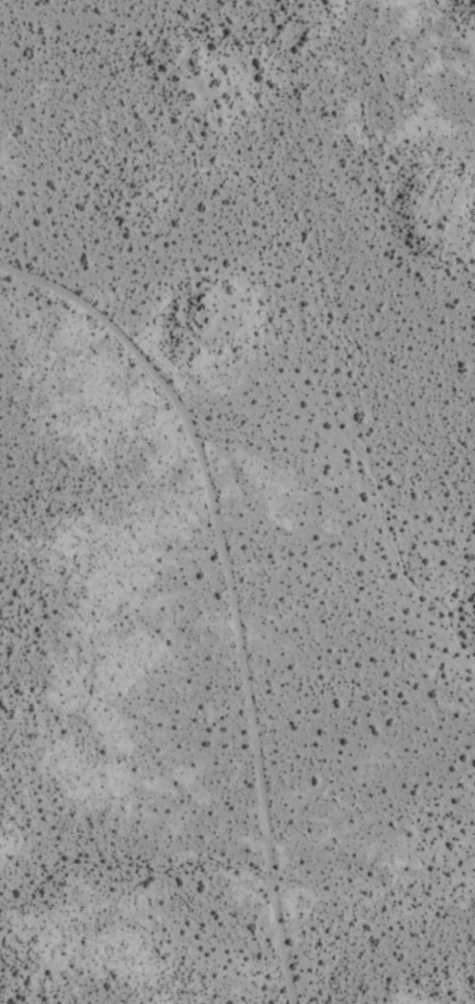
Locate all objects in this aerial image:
road: (139, 353)
road: (258, 751)

